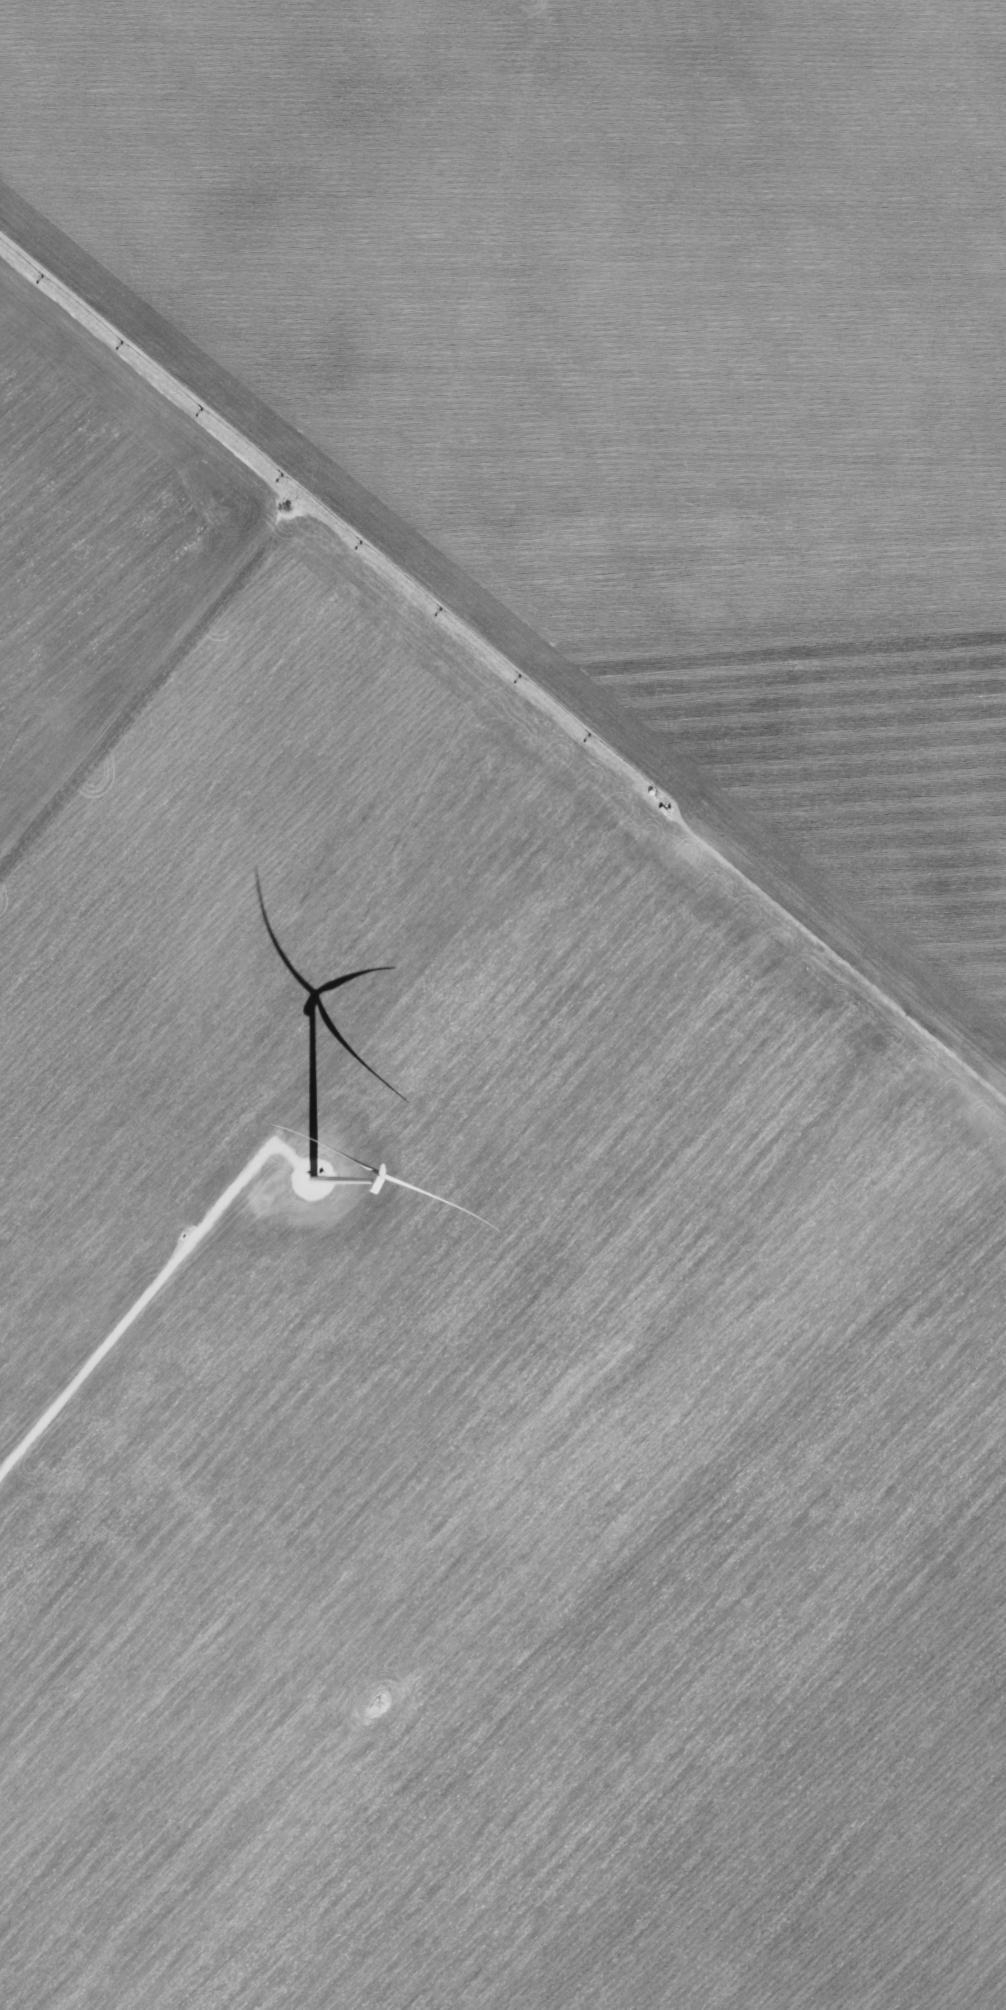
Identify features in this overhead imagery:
wind turbine: (318, 1165)

